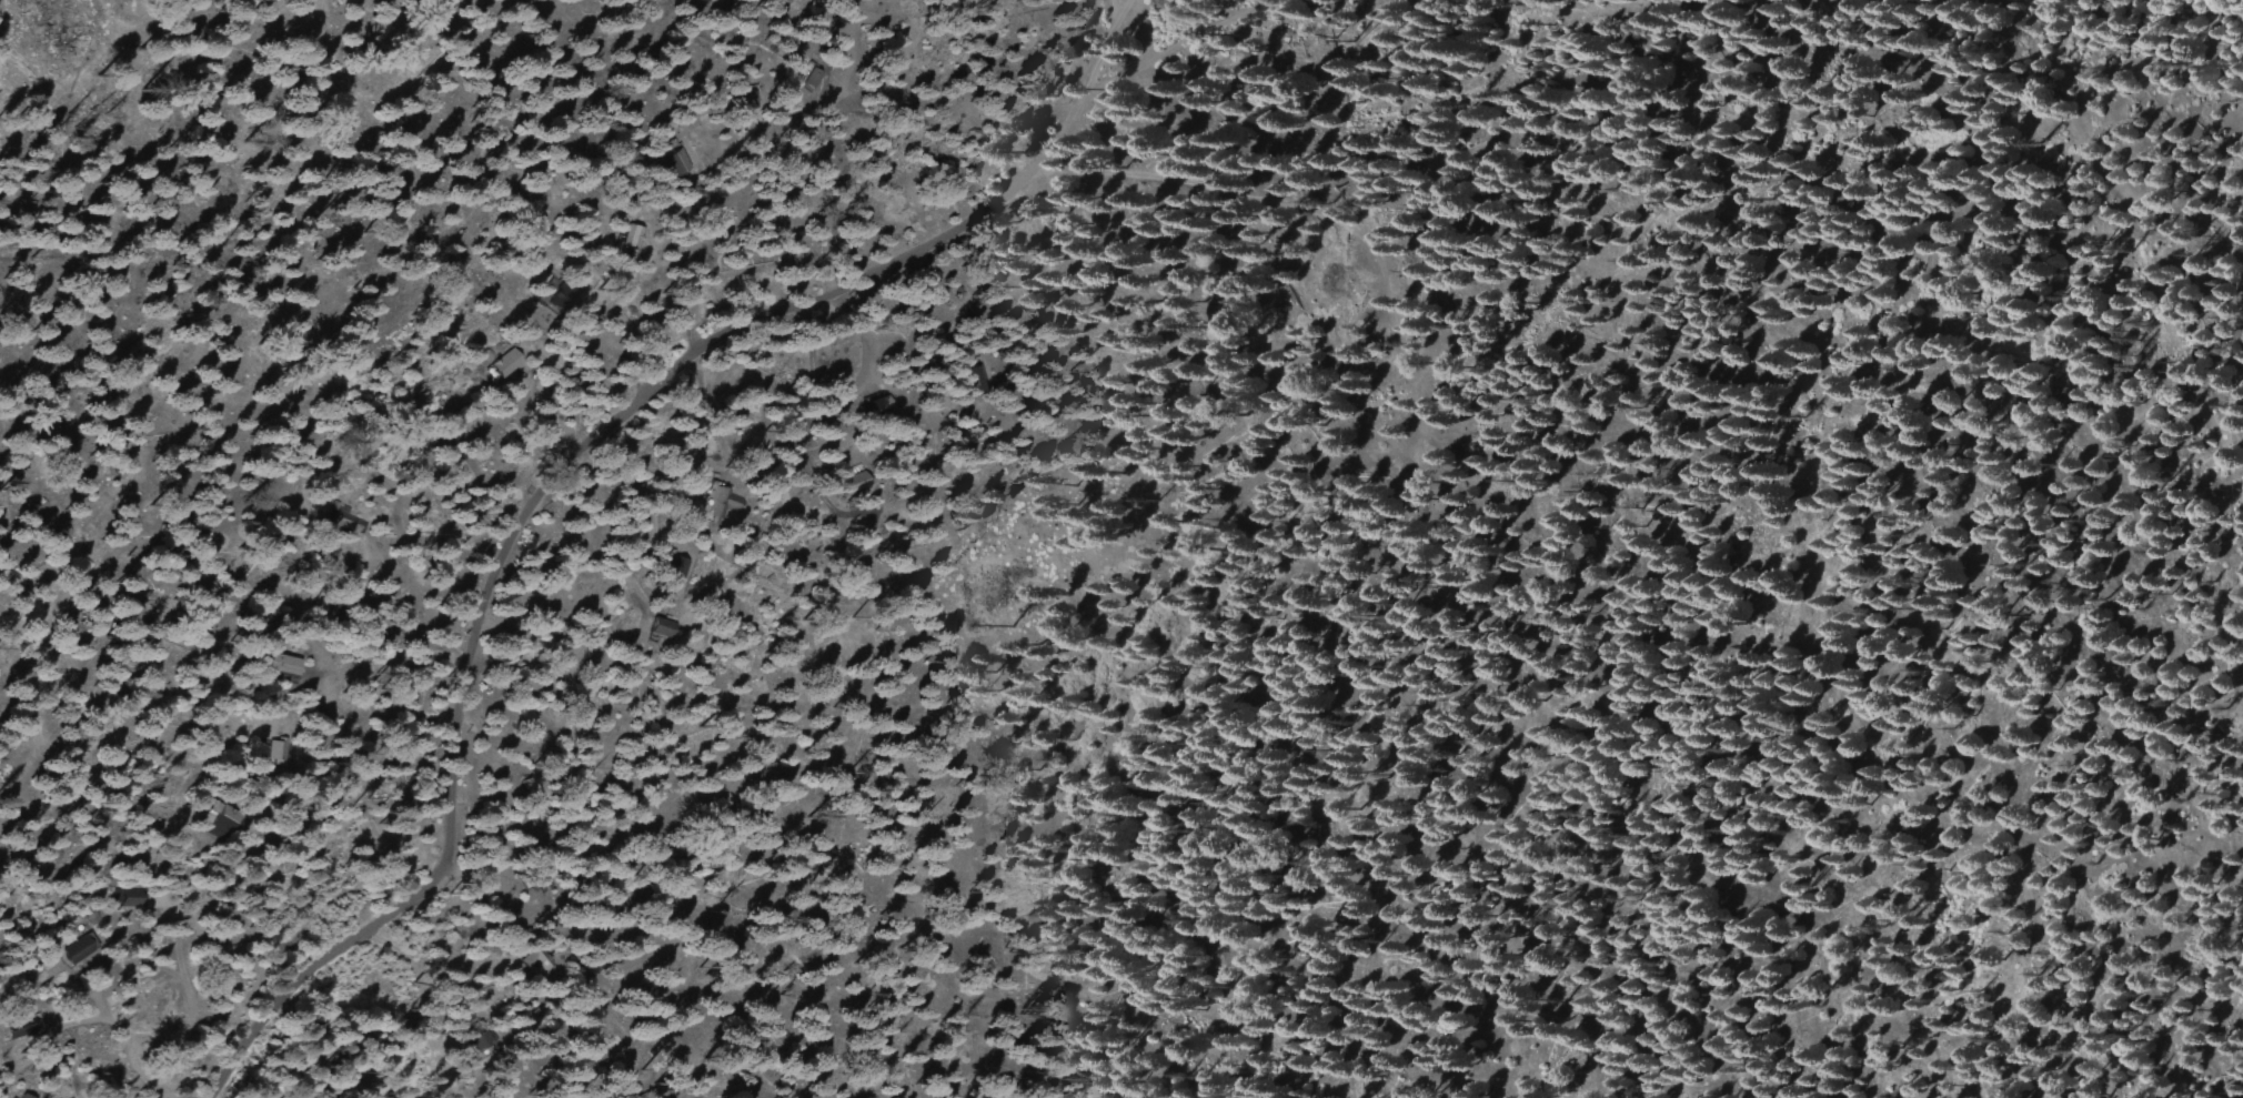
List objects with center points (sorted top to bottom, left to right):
road: (563, 470)
building: (674, 570)
building: (276, 664)

